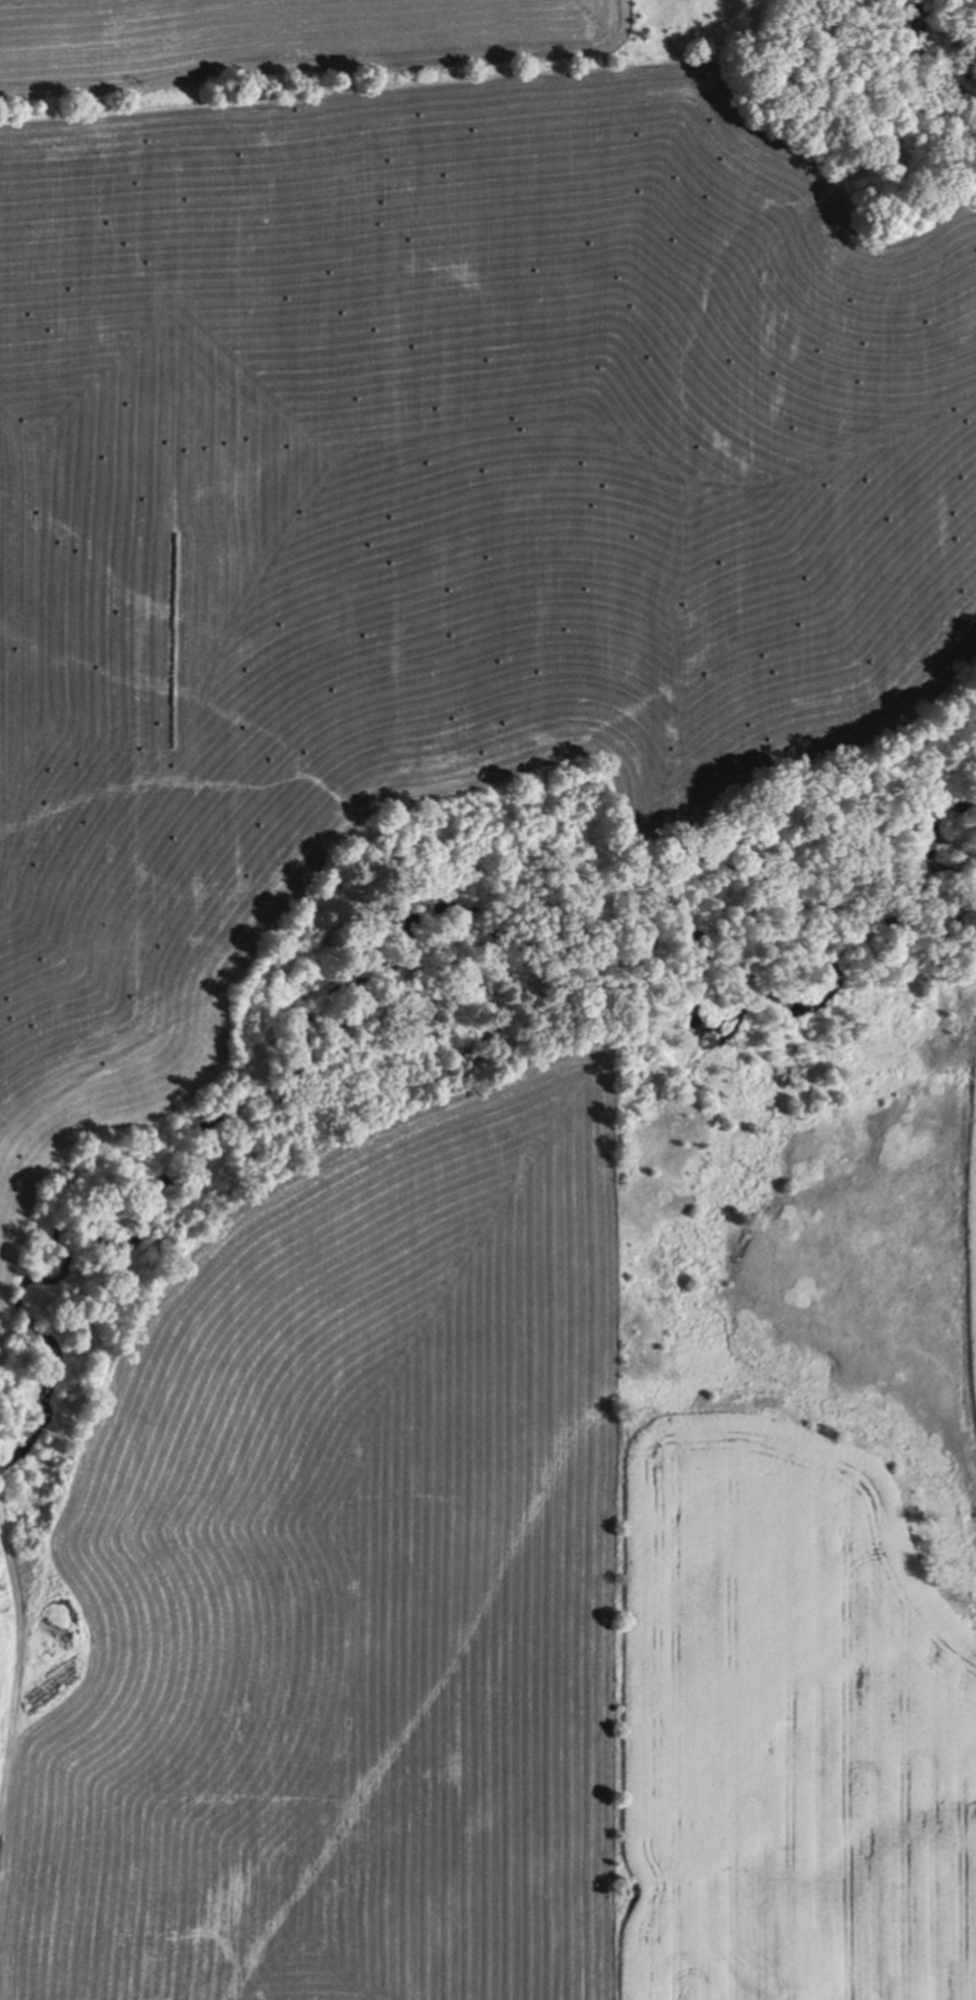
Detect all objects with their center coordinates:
river: (889, 90)

